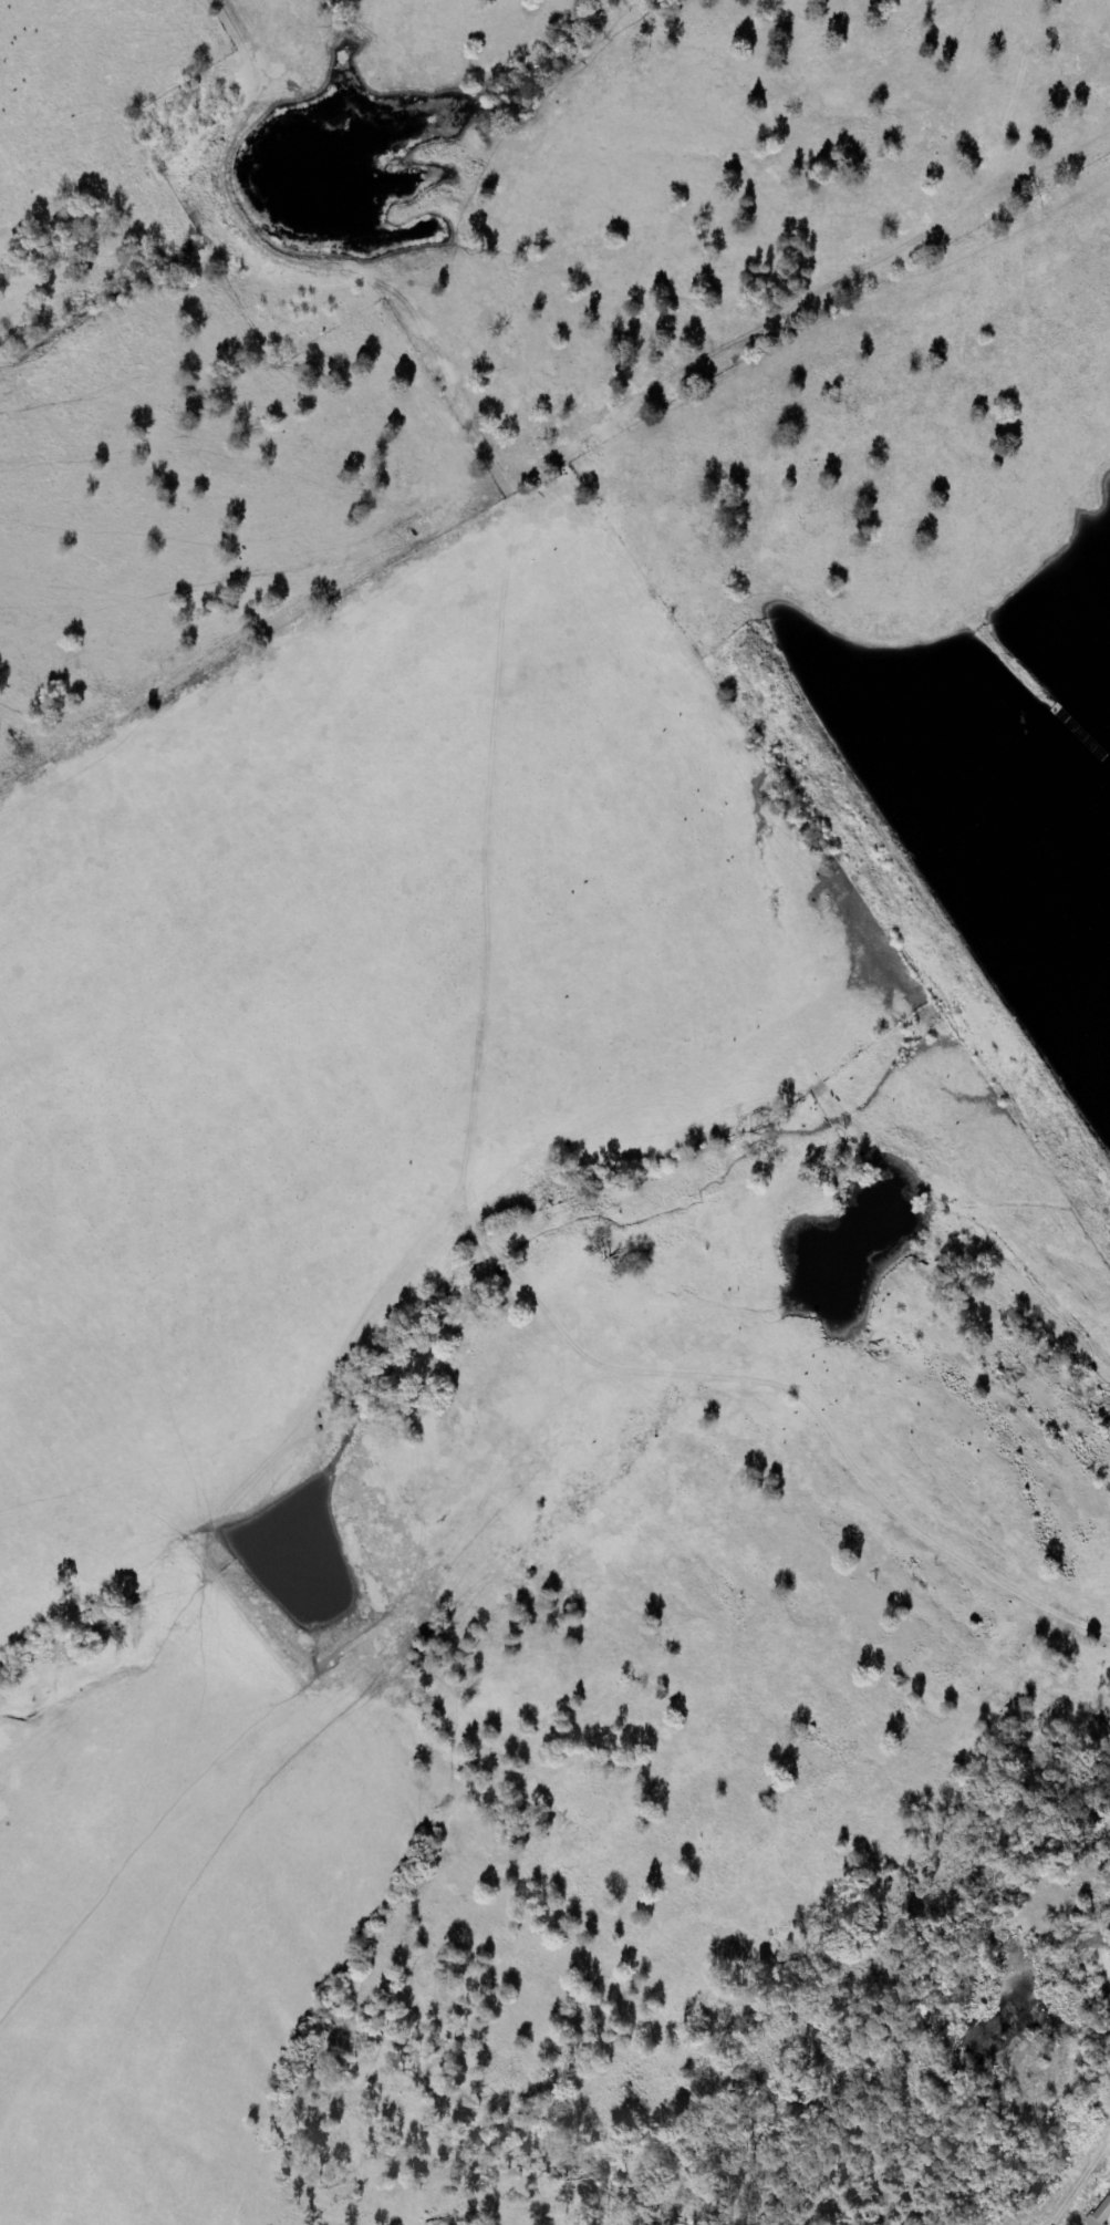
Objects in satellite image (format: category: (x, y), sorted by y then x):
building: (1101, 2215)
road: (1108, 2221)

